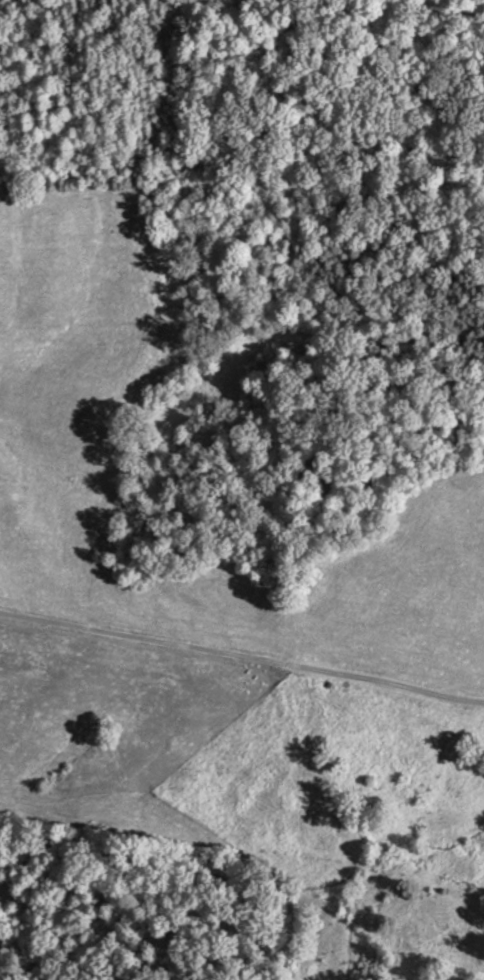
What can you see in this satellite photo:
road: (242, 672)

